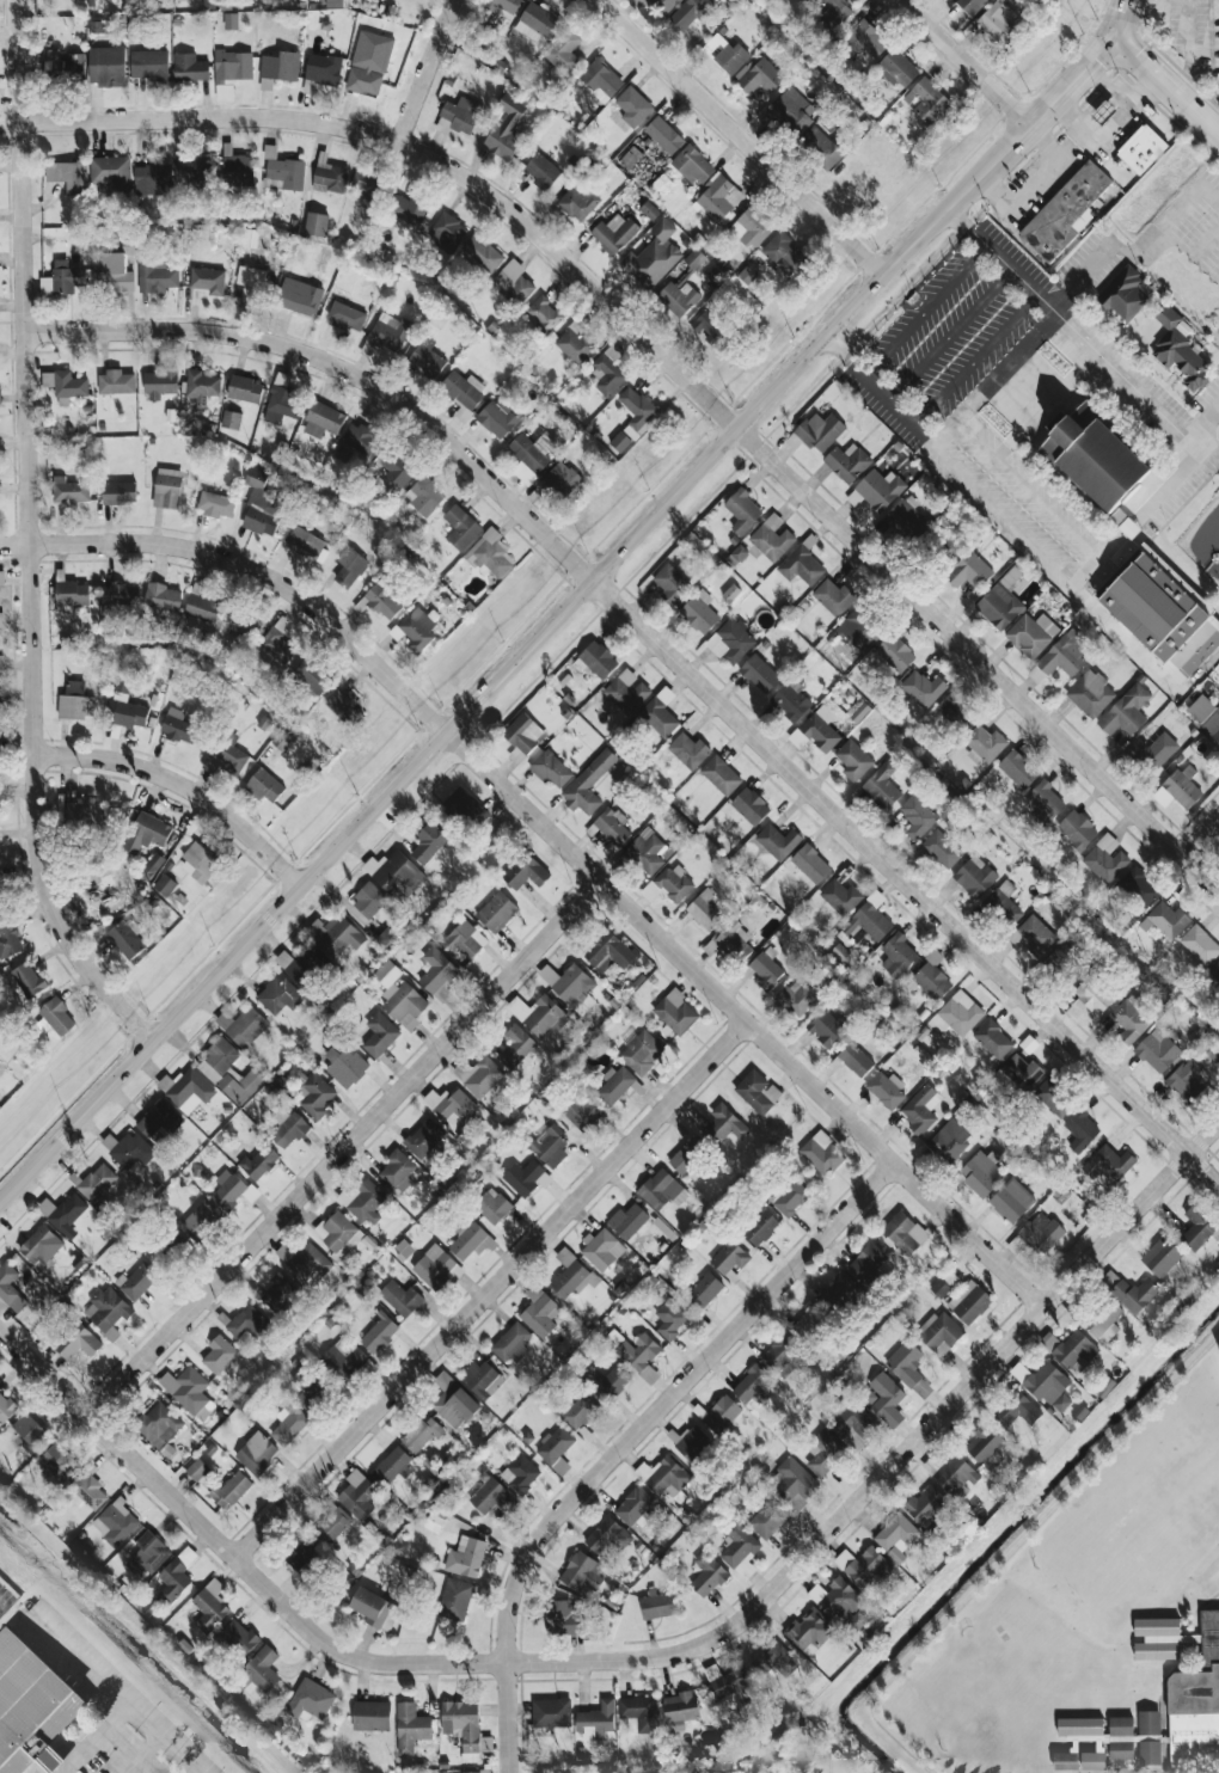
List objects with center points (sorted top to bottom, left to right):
building: (807, 1)
building: (663, 5)
building: (969, 5)
building: (502, 7)
building: (833, 11)
building: (687, 13)
road: (1115, 13)
building: (998, 23)
building: (537, 24)
building: (94, 27)
road: (1189, 30)
building: (864, 39)
building: (715, 43)
building: (563, 53)
building: (731, 57)
road: (963, 62)
building: (63, 65)
building: (148, 65)
building: (106, 66)
building: (232, 66)
building: (280, 66)
building: (189, 68)
building: (323, 69)
building: (896, 69)
road: (425, 72)
building: (760, 76)
building: (600, 78)
building: (363, 81)
road: (1164, 81)
road: (1102, 85)
building: (926, 102)
building: (632, 106)
building: (791, 110)
building: (459, 117)
building: (504, 125)
road: (1108, 125)
building: (663, 135)
road: (739, 137)
building: (821, 147)
building: (1140, 148)
road: (425, 158)
building: (630, 158)
building: (692, 165)
building: (235, 167)
building: (194, 171)
building: (541, 171)
building: (111, 172)
building: (283, 174)
building: (68, 176)
building: (154, 177)
building: (330, 177)
building: (367, 189)
building: (718, 197)
road: (1190, 197)
building: (577, 202)
building: (408, 209)
building: (1064, 211)
flagpole: (986, 214)
building: (316, 225)
flagpole: (976, 225)
building: (751, 227)
building: (446, 232)
building: (613, 233)
flagpole: (963, 239)
road: (1207, 244)
flagpole: (952, 250)
road: (1192, 252)
building: (482, 253)
building: (783, 253)
building: (653, 256)
flagpole: (943, 260)
road: (1098, 263)
flagpole: (933, 271)
building: (747, 272)
building: (114, 274)
building: (157, 277)
building: (62, 278)
building: (207, 281)
flagpole: (924, 281)
building: (250, 283)
building: (513, 283)
flagpole: (914, 289)
building: (1123, 290)
flagpole: (918, 294)
flagpole: (917, 295)
building: (299, 297)
building: (678, 299)
flagpole: (913, 299)
flagpole: (905, 300)
flagpole: (911, 300)
flagpole: (895, 309)
road: (926, 312)
building: (544, 314)
building: (344, 317)
flagpole: (886, 319)
building: (709, 326)
road: (1074, 327)
flagpole: (876, 330)
building: (388, 332)
road: (949, 335)
building: (574, 342)
building: (1177, 348)
flagpole: (857, 350)
road: (976, 360)
building: (425, 361)
flagpole: (843, 366)
road: (344, 370)
road: (998, 374)
flagpole: (833, 375)
building: (115, 382)
building: (65, 384)
building: (159, 384)
building: (200, 388)
building: (244, 389)
road: (876, 389)
building: (463, 392)
park: (1028, 392)
building: (0, 397)
building: (282, 405)
building: (637, 412)
building: (498, 417)
building: (231, 419)
building: (323, 421)
road: (1205, 424)
road: (944, 430)
building: (816, 434)
building: (359, 438)
building: (619, 442)
road: (1211, 450)
building: (529, 454)
building: (1095, 458)
building: (846, 462)
building: (397, 468)
building: (562, 479)
building: (167, 489)
building: (878, 489)
building: (69, 491)
road: (1028, 492)
building: (118, 493)
building: (423, 496)
building: (215, 504)
building: (261, 505)
building: (742, 510)
road: (1003, 519)
building: (905, 520)
road: (1138, 521)
building: (460, 527)
road: (27, 538)
building: (772, 538)
building: (306, 544)
building: (949, 547)
building: (489, 553)
building: (801, 566)
road: (1208, 566)
building: (349, 568)
building: (968, 570)
road: (251, 571)
building: (1, 577)
building: (670, 583)
building: (72, 594)
building: (120, 594)
building: (833, 596)
building: (163, 597)
building: (1153, 600)
building: (382, 601)
building: (1000, 601)
building: (201, 609)
building: (699, 612)
road: (557, 618)
building: (1, 621)
building: (237, 621)
building: (415, 628)
building: (859, 628)
building: (1030, 633)
building: (730, 640)
building: (276, 646)
building: (895, 652)
building: (1062, 655)
road: (978, 658)
building: (598, 659)
building: (1, 662)
road: (1147, 665)
building: (759, 673)
building: (311, 677)
building: (923, 688)
building: (626, 692)
building: (1090, 693)
building: (75, 703)
building: (790, 703)
building: (344, 707)
building: (1200, 708)
building: (1125, 710)
building: (127, 711)
building: (858, 711)
building: (955, 711)
building: (657, 718)
building: (177, 726)
building: (1212, 726)
building: (820, 729)
building: (522, 736)
building: (984, 744)
building: (688, 750)
building: (1153, 750)
building: (231, 756)
building: (852, 760)
building: (1017, 768)
building: (551, 769)
building: (719, 775)
building: (588, 783)
building: (882, 785)
building: (264, 786)
road: (183, 787)
building: (1178, 787)
building: (1043, 800)
building: (749, 805)
building: (464, 809)
building: (85, 812)
building: (917, 816)
building: (611, 826)
building: (1077, 829)
building: (145, 833)
road: (1200, 834)
building: (777, 841)
building: (428, 842)
building: (941, 848)
building: (645, 852)
building: (1105, 859)
building: (198, 863)
building: (810, 864)
building: (151, 866)
building: (525, 872)
building: (394, 873)
building: (974, 876)
road: (906, 882)
building: (164, 885)
building: (668, 885)
building: (1135, 888)
building: (1, 896)
building: (840, 896)
building: (368, 900)
building: (1003, 904)
building: (700, 910)
building: (496, 912)
building: (1168, 920)
building: (1036, 933)
building: (335, 934)
building: (125, 938)
building: (8, 939)
building: (465, 939)
building: (730, 944)
building: (1199, 944)
building: (608, 951)
building: (896, 955)
building: (1059, 958)
building: (301, 965)
building: (765, 969)
building: (1215, 969)
building: (436, 974)
building: (27, 980)
building: (931, 981)
building: (574, 988)
building: (1092, 995)
building: (278, 996)
building: (399, 996)
building: (796, 998)
building: (675, 1012)
building: (957, 1013)
building: (540, 1016)
building: (56, 1017)
building: (1131, 1019)
road: (743, 1022)
building: (241, 1026)
building: (826, 1029)
building: (379, 1035)
building: (992, 1039)
building: (515, 1047)
building: (1157, 1050)
building: (641, 1053)
building: (854, 1059)
building: (343, 1062)
building: (228, 1072)
building: (1021, 1072)
building: (478, 1075)
building: (1187, 1079)
building: (614, 1084)
building: (186, 1090)
building: (886, 1090)
building: (755, 1091)
building: (314, 1096)
building: (1052, 1099)
building: (449, 1105)
building: (920, 1109)
building: (581, 1112)
building: (158, 1122)
building: (724, 1124)
building: (288, 1130)
building: (1079, 1130)
building: (423, 1139)
building: (949, 1140)
building: (549, 1146)
building: (128, 1149)
road: (344, 1149)
building: (821, 1153)
building: (687, 1154)
building: (258, 1162)
building: (1108, 1165)
building: (397, 1171)
building: (980, 1173)
building: (526, 1178)
building: (97, 1183)
building: (228, 1189)
building: (658, 1190)
building: (789, 1197)
building: (363, 1201)
building: (1011, 1201)
building: (492, 1205)
building: (67, 1211)
building: (200, 1221)
building: (627, 1221)
building: (759, 1227)
building: (1196, 1228)
building: (903, 1232)
building: (1041, 1232)
building: (337, 1233)
building: (468, 1241)
building: (39, 1246)
building: (602, 1250)
building: (729, 1257)
building: (1160, 1257)
building: (870, 1262)
building: (308, 1264)
building: (435, 1269)
building: (570, 1276)
building: (1109, 1280)
building: (136, 1282)
building: (943, 1283)
building: (10, 1288)
building: (704, 1290)
road: (492, 1293)
building: (278, 1294)
building: (1134, 1295)
building: (400, 1297)
building: (968, 1302)
building: (826, 1309)
building: (106, 1311)
building: (539, 1312)
building: (669, 1319)
building: (1104, 1321)
building: (247, 1325)
building: (939, 1332)
building: (379, 1335)
building: (512, 1343)
building: (78, 1344)
building: (638, 1351)
building: (1074, 1352)
building: (778, 1354)
building: (219, 1355)
building: (905, 1363)
building: (482, 1379)
building: (612, 1382)
building: (753, 1385)
building: (1049, 1386)
building: (307, 1388)
building: (189, 1392)
building: (883, 1394)
building: (453, 1404)
building: (5, 1409)
building: (1017, 1410)
building: (578, 1412)
building: (721, 1415)
building: (851, 1424)
building: (159, 1425)
building: (289, 1427)
building: (29, 1430)
building: (421, 1435)
road: (632, 1437)
building: (692, 1443)
building: (984, 1444)
building: (555, 1446)
building: (256, 1454)
building: (823, 1454)
road: (896, 1459)
building: (59, 1462)
building: (394, 1465)
building: (196, 1470)
building: (520, 1473)
building: (955, 1476)
building: (663, 1477)
building: (794, 1483)
building: (87, 1490)
building: (231, 1490)
building: (356, 1495)
building: (491, 1497)
building: (927, 1507)
building: (635, 1508)
building: (767, 1520)
building: (115, 1522)
building: (333, 1523)
building: (896, 1536)
building: (607, 1538)
building: (737, 1545)
road: (229, 1552)
building: (465, 1557)
building: (864, 1568)
building: (582, 1571)
building: (177, 1573)
building: (706, 1575)
building: (454, 1600)
building: (843, 1602)
building: (209, 1606)
building: (657, 1606)
building: (374, 1608)
building: (564, 1618)
building: (809, 1631)
building: (237, 1638)
building: (1158, 1638)
building: (773, 1662)
building: (262, 1669)
building: (733, 1686)
road: (116, 1697)
building: (310, 1701)
building: (1195, 1703)
building: (30, 1710)
building: (679, 1710)
building: (551, 1712)
building: (638, 1712)
building: (370, 1716)
building: (595, 1720)
building: (1147, 1722)
building: (410, 1728)
building: (465, 1728)
road: (94, 1738)
building: (1085, 1740)
building: (1122, 1741)
building: (1147, 1750)
road: (147, 1756)
building: (1092, 1761)
road: (195, 1771)
building: (470, 1772)

